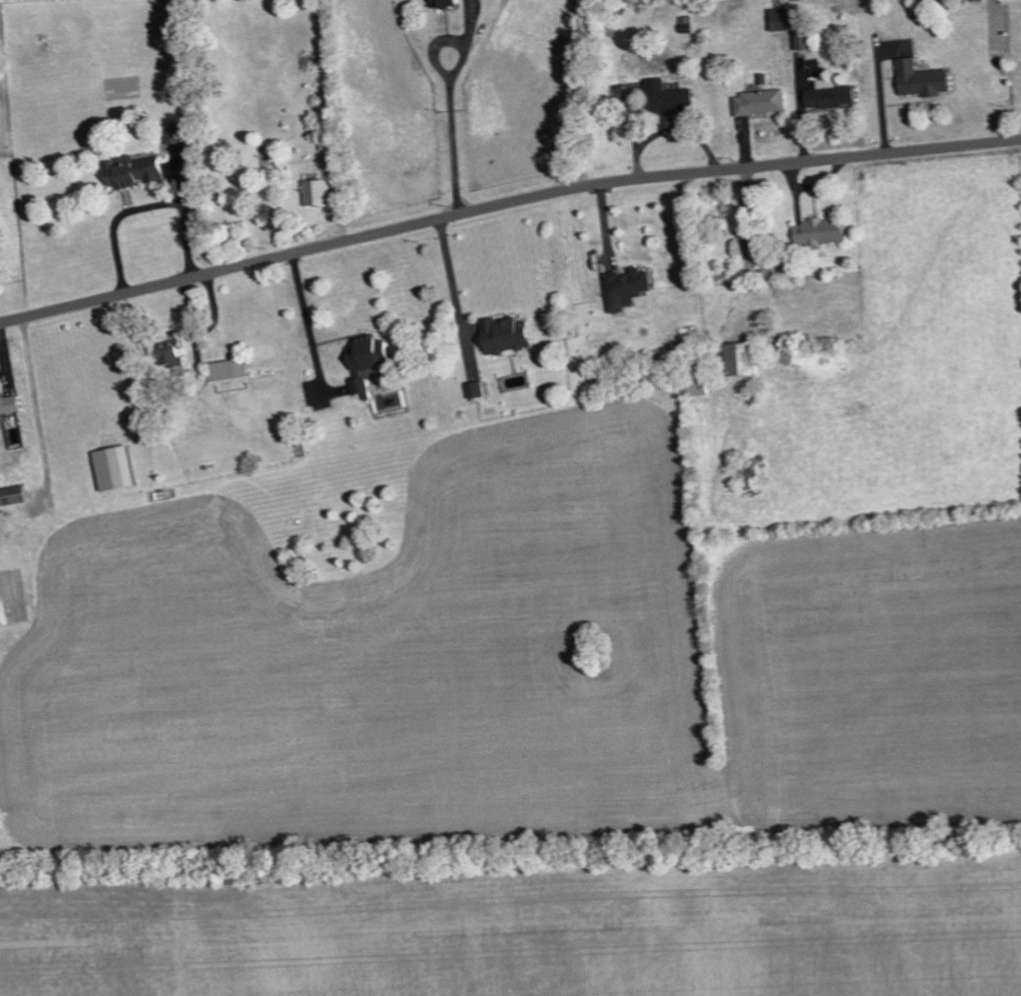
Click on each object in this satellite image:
building: (443, 2)
building: (777, 19)
building: (685, 25)
building: (803, 38)
building: (920, 78)
building: (829, 94)
building: (666, 96)
building: (758, 101)
building: (173, 132)
building: (132, 171)
building: (314, 191)
road: (505, 202)
building: (817, 231)
building: (624, 285)
building: (501, 335)
building: (168, 353)
building: (740, 358)
building: (365, 359)
building: (226, 369)
building: (474, 391)
building: (8, 405)
building: (110, 467)
building: (11, 495)

